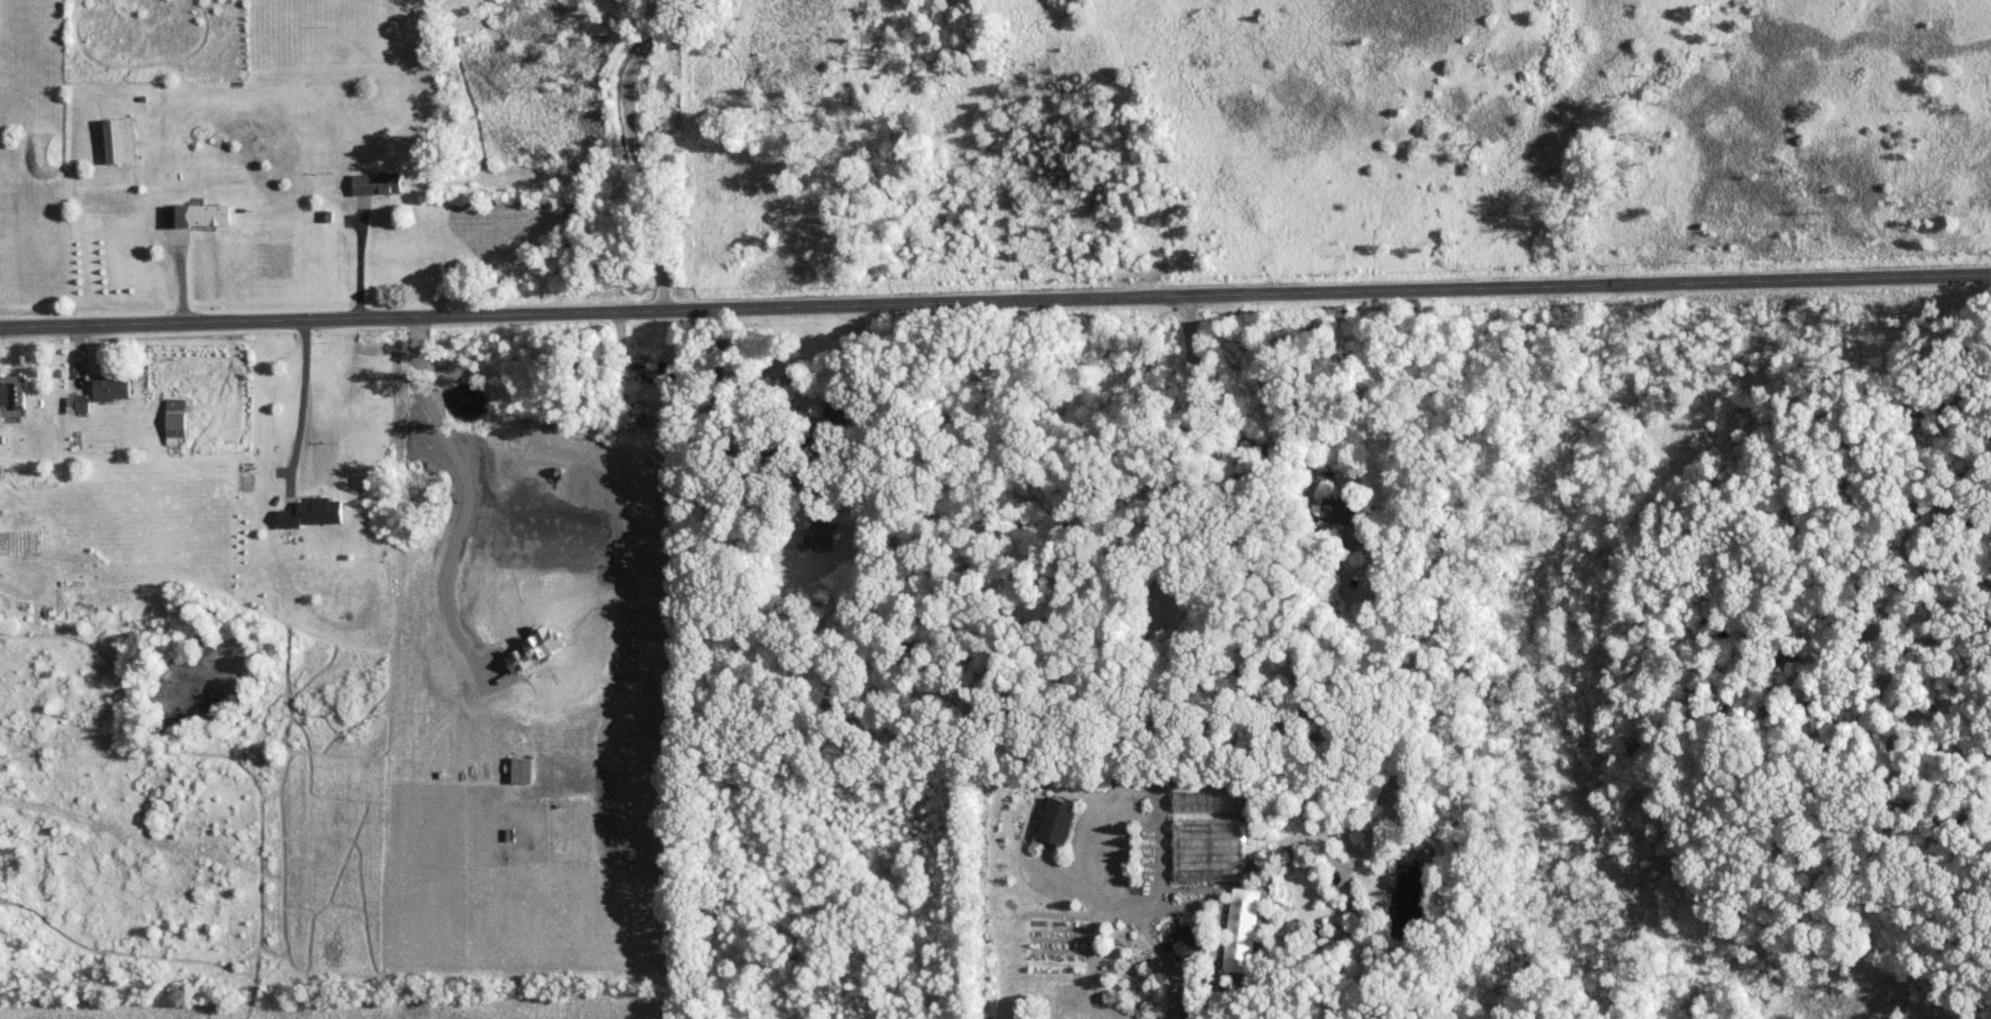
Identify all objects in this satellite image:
building: (125, 140)
road: (635, 153)
building: (378, 183)
building: (201, 215)
road: (358, 261)
road: (995, 304)
building: (669, 369)
building: (15, 389)
building: (112, 389)
road: (304, 402)
building: (83, 404)
building: (846, 411)
building: (176, 424)
building: (1349, 511)
building: (315, 512)
building: (821, 534)
road: (1186, 592)
building: (1210, 801)
building: (1059, 819)
building: (1211, 849)
building: (1188, 939)

